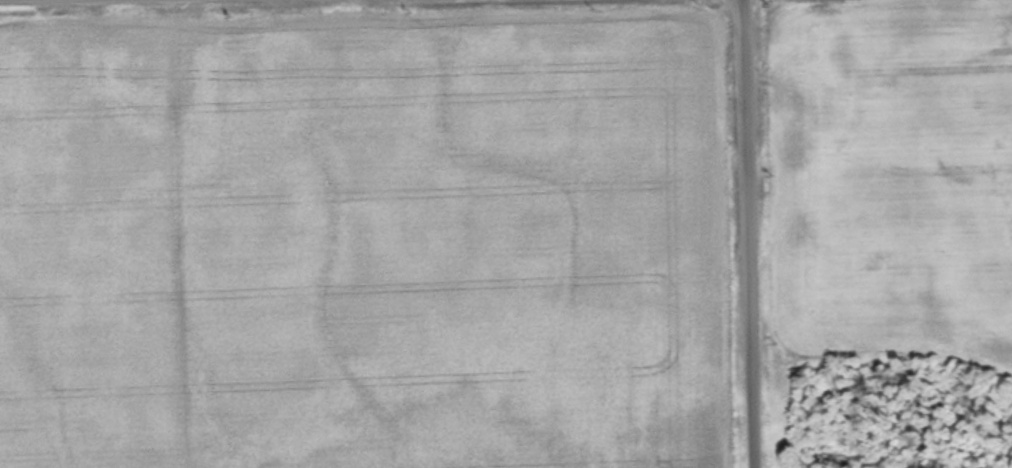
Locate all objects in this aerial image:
road: (744, 234)

